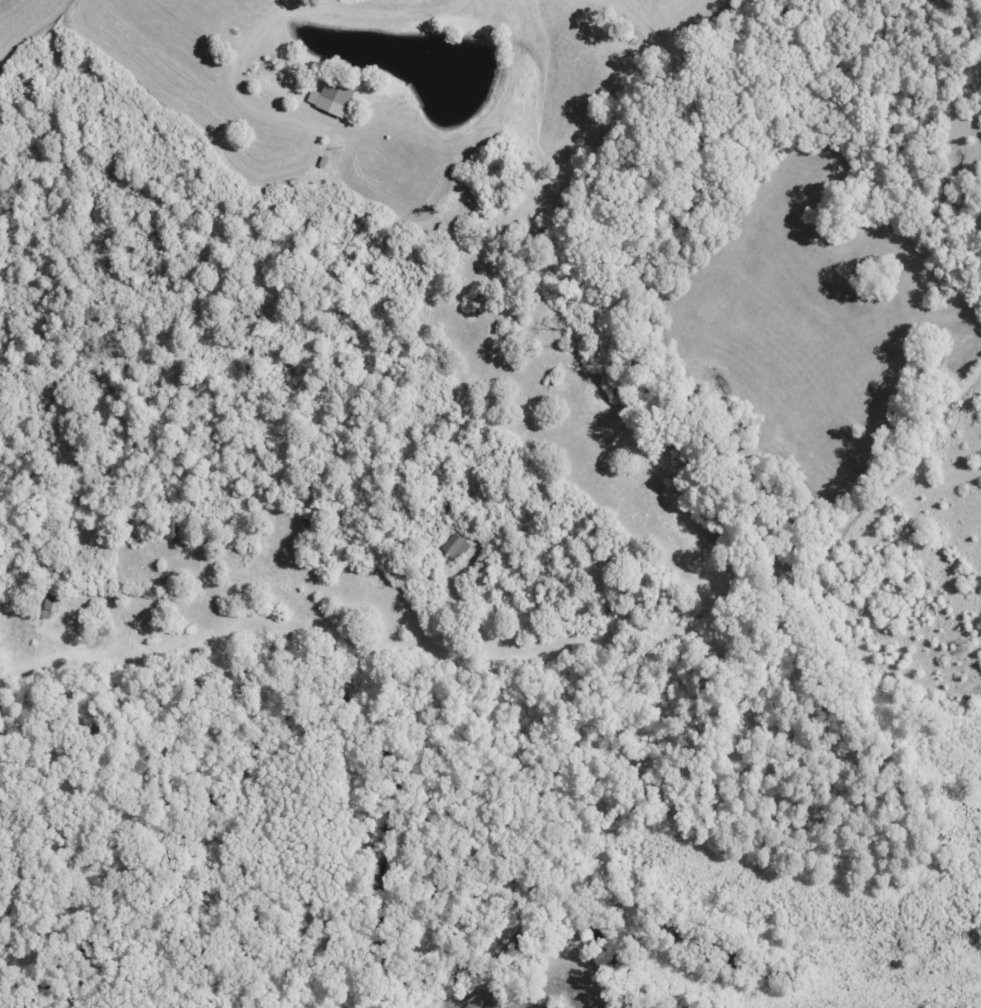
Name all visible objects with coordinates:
building: (327, 94)
building: (178, 530)
building: (446, 548)
building: (47, 608)

